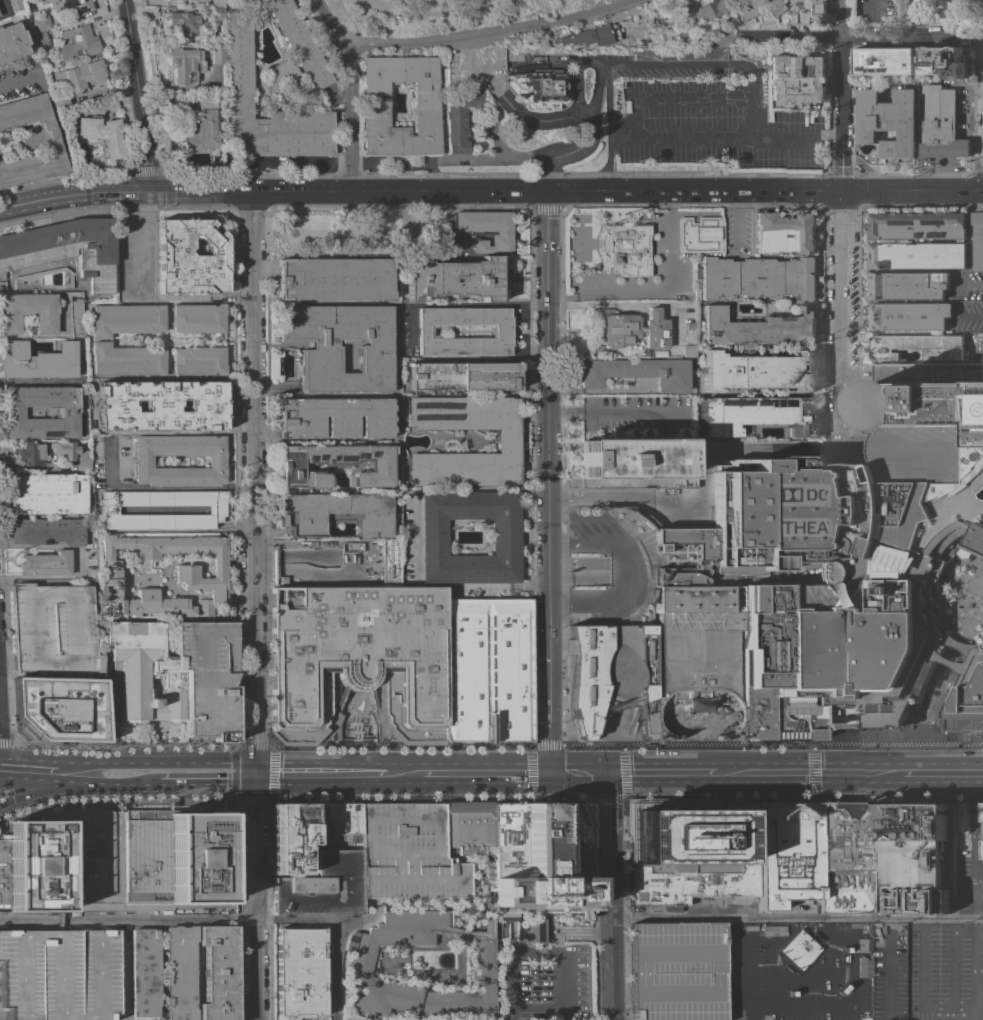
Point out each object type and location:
building: (182, 0)
building: (787, 0)
building: (218, 3)
road: (543, 3)
building: (69, 5)
building: (16, 6)
building: (819, 7)
building: (702, 8)
building: (768, 11)
building: (742, 12)
building: (218, 13)
building: (796, 16)
road: (556, 17)
road: (915, 17)
road: (537, 20)
building: (40, 23)
building: (183, 24)
road: (859, 35)
building: (590, 36)
road: (458, 37)
building: (41, 42)
building: (11, 43)
building: (300, 43)
building: (77, 44)
building: (218, 56)
building: (515, 57)
building: (240, 60)
building: (883, 61)
building: (943, 61)
building: (185, 65)
road: (605, 65)
road: (713, 65)
building: (283, 72)
building: (79, 76)
road: (577, 77)
building: (797, 78)
road: (18, 80)
building: (540, 90)
road: (842, 94)
road: (137, 96)
road: (670, 97)
building: (376, 102)
building: (61, 105)
road: (584, 115)
building: (459, 119)
road: (350, 120)
building: (887, 121)
building: (941, 124)
building: (203, 126)
parking lot: (714, 126)
road: (609, 127)
building: (102, 136)
road: (714, 136)
building: (31, 142)
road: (388, 165)
road: (430, 177)
traffic signals: (841, 189)
road: (912, 189)
road: (419, 190)
traffic signals: (147, 194)
road: (923, 204)
road: (843, 205)
road: (292, 218)
road: (736, 222)
road: (562, 223)
building: (917, 225)
building: (486, 229)
road: (279, 233)
road: (362, 233)
parking lot: (735, 233)
building: (786, 233)
road: (299, 234)
park: (360, 234)
building: (707, 236)
building: (977, 240)
road: (669, 242)
building: (626, 249)
building: (62, 254)
building: (917, 255)
building: (190, 258)
parking lot: (662, 268)
road: (599, 276)
building: (759, 278)
building: (333, 279)
building: (456, 279)
building: (908, 285)
road: (602, 293)
road: (229, 297)
road: (605, 297)
road: (189, 298)
road: (842, 300)
road: (460, 304)
parking lot: (855, 306)
building: (28, 312)
parking lot: (832, 315)
building: (908, 315)
building: (198, 318)
building: (76, 319)
building: (126, 320)
building: (690, 326)
building: (760, 328)
building: (631, 329)
road: (579, 331)
building: (501, 332)
road: (545, 340)
building: (918, 346)
building: (373, 348)
building: (597, 350)
building: (689, 351)
building: (38, 361)
building: (126, 361)
building: (198, 361)
building: (758, 371)
building: (636, 372)
building: (463, 376)
road: (35, 385)
road: (273, 388)
building: (924, 398)
building: (161, 406)
road: (613, 413)
parking lot: (472, 414)
building: (68, 415)
building: (758, 415)
parking lot: (635, 417)
building: (334, 418)
road: (842, 432)
building: (509, 441)
road: (857, 450)
building: (73, 452)
building: (29, 454)
building: (632, 459)
building: (143, 462)
building: (334, 465)
parking lot: (472, 469)
road: (160, 487)
road: (436, 489)
road: (704, 493)
building: (48, 494)
road: (547, 495)
building: (215, 510)
building: (337, 512)
building: (47, 531)
building: (505, 538)
building: (45, 564)
parking lot: (856, 568)
building: (848, 570)
road: (622, 573)
road: (47, 576)
building: (199, 578)
road: (252, 607)
building: (54, 629)
parking lot: (54, 629)
road: (549, 636)
building: (698, 650)
building: (360, 655)
road: (7, 664)
road: (947, 670)
building: (486, 671)
building: (608, 674)
building: (176, 676)
building: (968, 701)
building: (60, 709)
building: (567, 709)
road: (157, 738)
traffic signals: (549, 739)
road: (491, 746)
road: (156, 762)
road: (30, 770)
road: (531, 772)
road: (625, 772)
traffic signals: (627, 772)
road: (795, 772)
road: (813, 772)
road: (235, 773)
road: (275, 773)
road: (485, 773)
traffic signals: (525, 773)
road: (579, 773)
road: (319, 774)
road: (403, 774)
traffic signals: (253, 775)
road: (108, 784)
road: (207, 784)
road: (41, 792)
road: (489, 799)
traffic signals: (609, 803)
building: (982, 811)
building: (962, 816)
building: (334, 820)
road: (609, 825)
building: (468, 827)
building: (290, 838)
building: (690, 849)
building: (982, 849)
building: (788, 853)
building: (407, 854)
parking lot: (407, 854)
building: (910, 855)
building: (845, 857)
building: (178, 861)
building: (64, 862)
building: (306, 863)
parking lot: (970, 886)
road: (979, 887)
building: (322, 888)
road: (262, 895)
road: (976, 896)
building: (486, 909)
road: (796, 918)
road: (125, 919)
road: (325, 921)
road: (542, 930)
building: (772, 930)
road: (580, 931)
road: (611, 948)
building: (797, 950)
parking lot: (544, 963)
road: (511, 965)
building: (864, 968)
building: (677, 971)
parking lot: (677, 971)
parking lot: (798, 971)
parking lot: (892, 971)
parking lot: (946, 971)
road: (119, 972)
building: (180, 972)
building: (144, 973)
building: (218, 973)
building: (300, 973)
building: (58, 975)
parking lot: (58, 975)
road: (737, 980)
road: (839, 1002)
road: (120, 1017)

